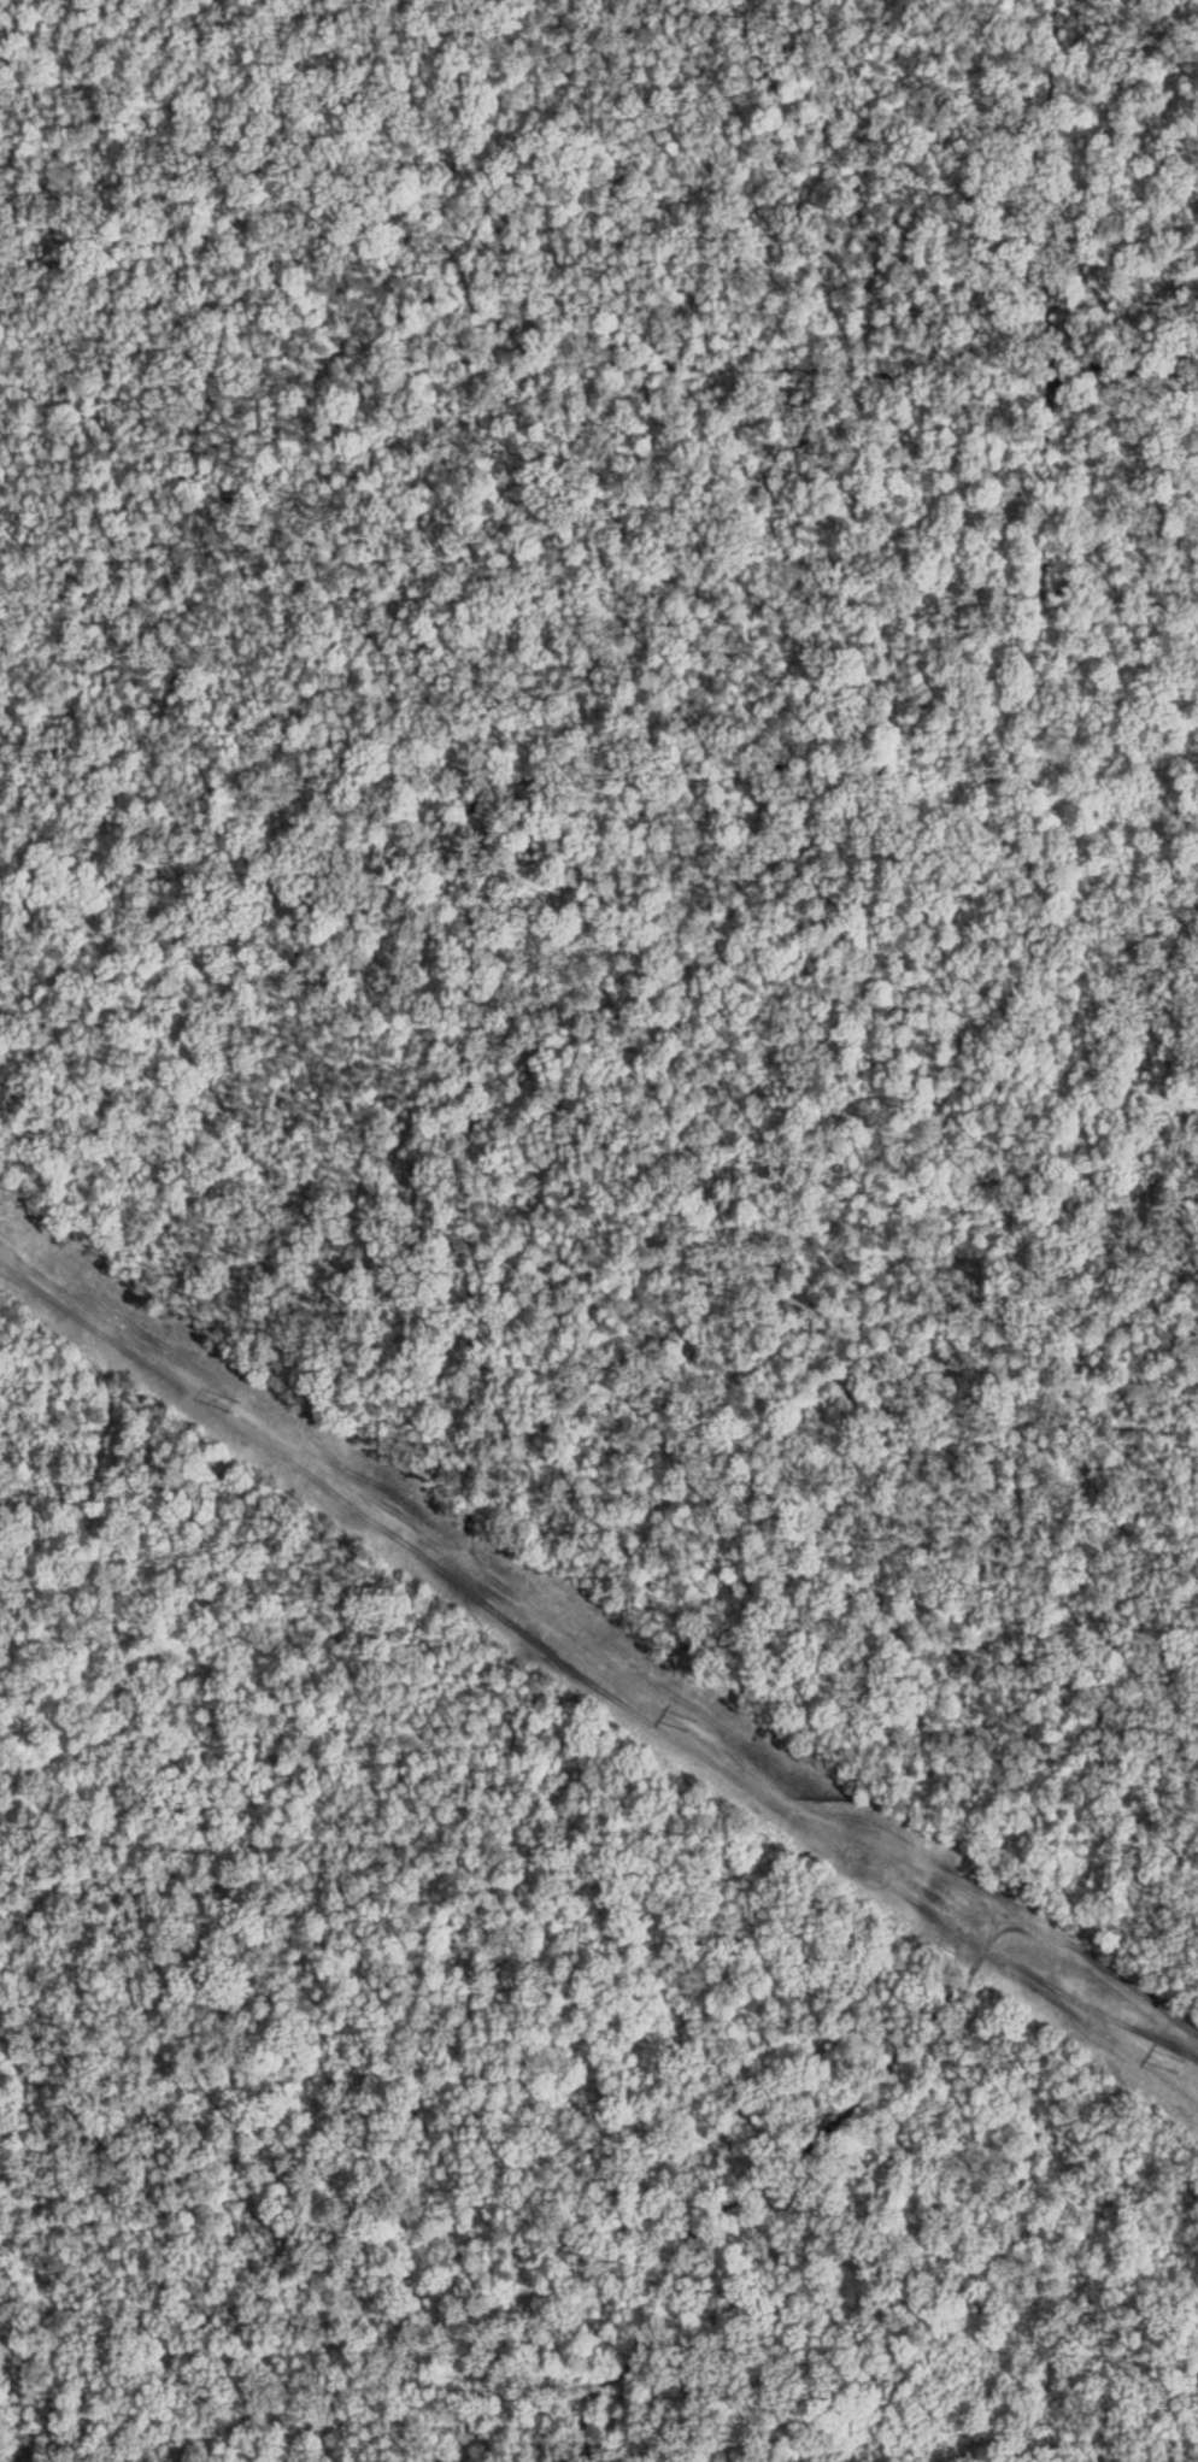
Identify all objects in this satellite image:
power tower: (239, 1400)
power tower: (693, 1717)
power tower: (1182, 2061)

